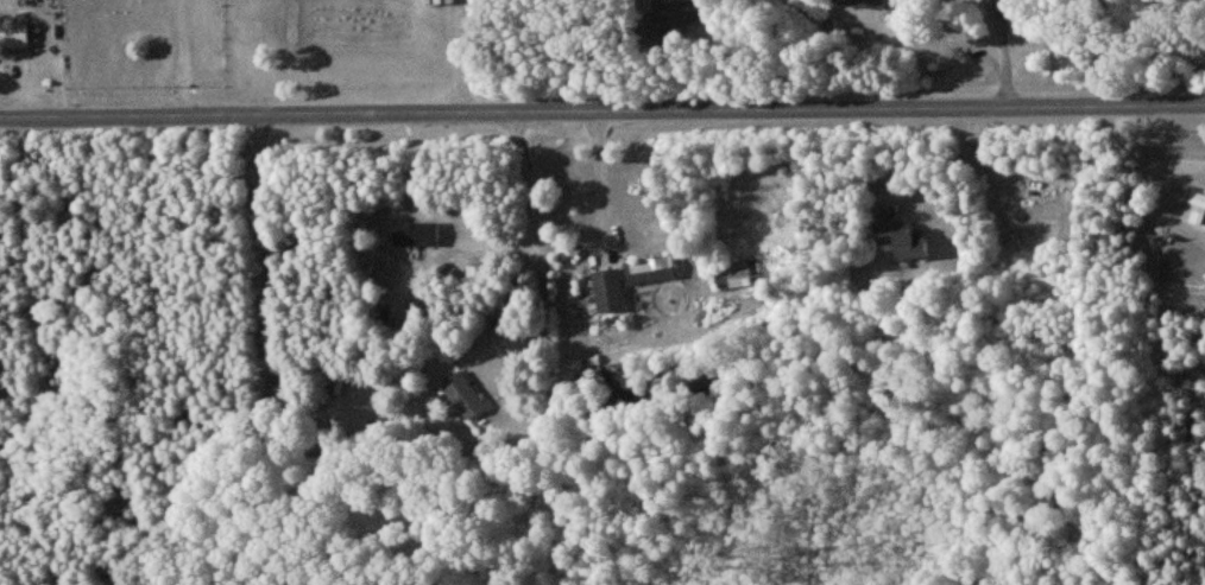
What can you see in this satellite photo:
building: (863, 2)
building: (668, 18)
building: (13, 33)
road: (601, 112)
road: (601, 184)
building: (1194, 208)
road: (530, 210)
building: (414, 234)
building: (901, 240)
building: (649, 269)
building: (737, 274)
building: (607, 291)
building: (462, 394)

